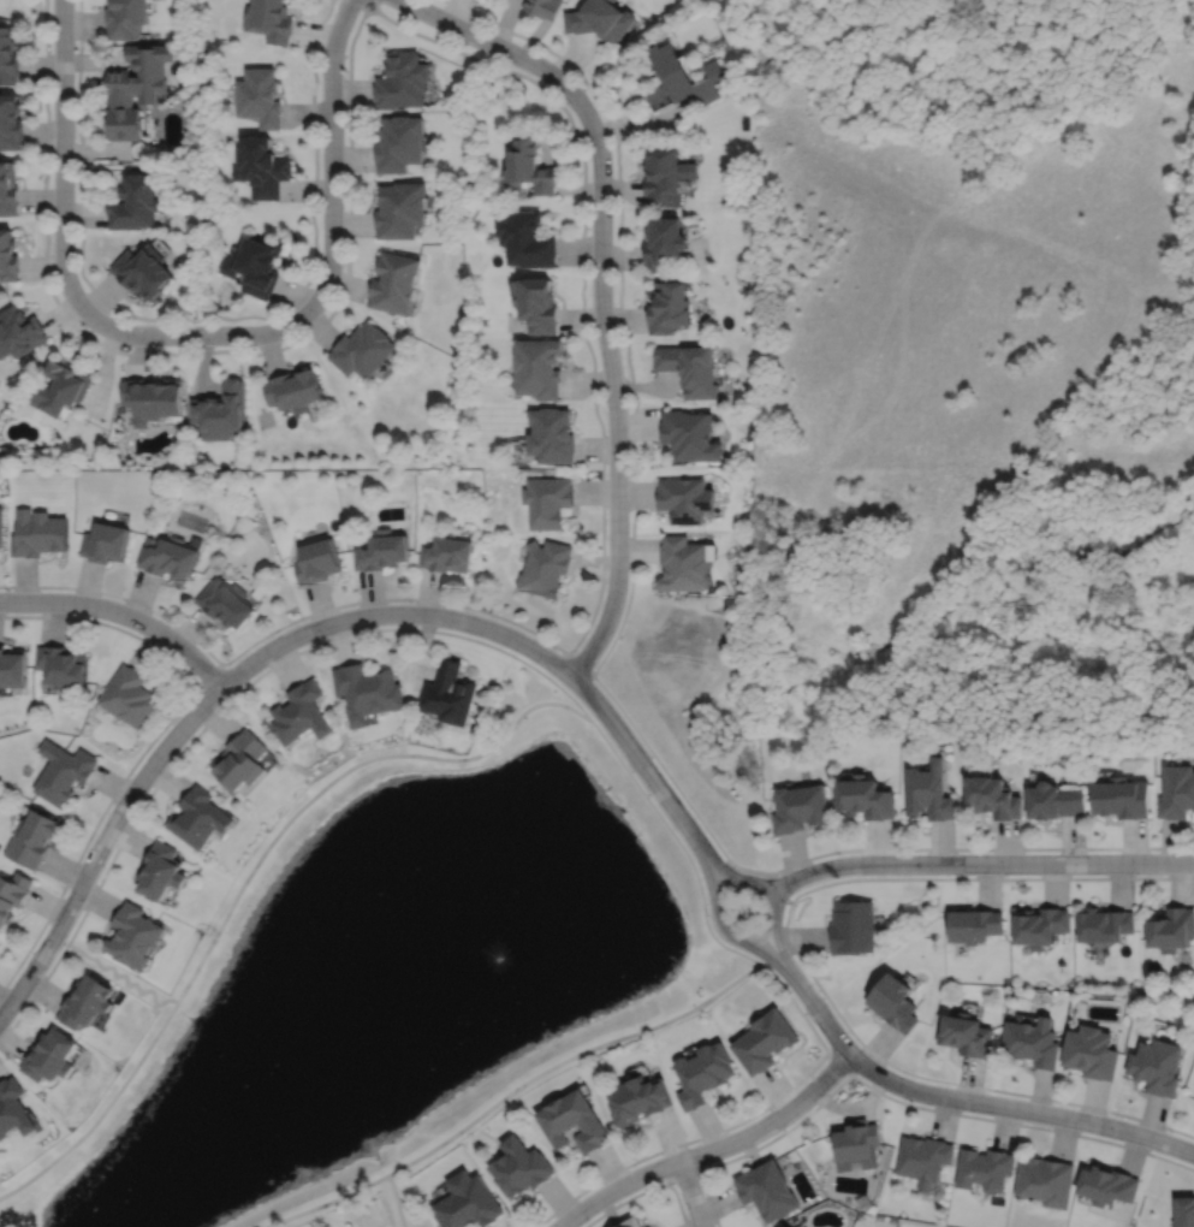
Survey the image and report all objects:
building: (542, 6)
building: (125, 18)
building: (600, 18)
building: (268, 19)
road: (493, 43)
building: (7, 55)
building: (682, 76)
building: (402, 79)
building: (135, 88)
building: (257, 95)
building: (10, 121)
road: (571, 121)
building: (398, 142)
building: (260, 166)
building: (528, 167)
building: (665, 176)
building: (7, 188)
building: (135, 203)
building: (399, 209)
road: (332, 213)
road: (63, 219)
building: (527, 238)
building: (664, 243)
building: (7, 257)
building: (253, 265)
building: (143, 272)
building: (393, 281)
building: (536, 303)
building: (669, 307)
road: (198, 319)
building: (18, 332)
building: (361, 350)
building: (537, 367)
building: (688, 367)
building: (60, 389)
building: (291, 390)
road: (613, 390)
building: (153, 399)
building: (219, 411)
building: (552, 435)
building: (689, 435)
building: (683, 499)
building: (547, 500)
building: (0, 527)
building: (37, 534)
building: (105, 544)
building: (381, 551)
building: (447, 553)
building: (168, 557)
building: (315, 561)
building: (682, 565)
building: (545, 569)
building: (224, 604)
road: (123, 613)
road: (304, 633)
road: (613, 639)
road: (519, 659)
road: (581, 664)
building: (61, 669)
building: (12, 670)
road: (209, 675)
building: (367, 693)
building: (449, 695)
building: (129, 699)
building: (299, 716)
road: (149, 742)
building: (239, 761)
road: (165, 771)
building: (61, 773)
street lamp: (131, 773)
building: (1176, 792)
building: (928, 793)
street lamp: (649, 796)
building: (1122, 796)
building: (993, 798)
building: (865, 800)
building: (1055, 800)
building: (797, 808)
building: (200, 817)
building: (31, 837)
road: (681, 846)
street lamp: (839, 855)
road: (997, 864)
road: (719, 866)
building: (160, 870)
road: (250, 872)
street lamp: (1006, 876)
street lamp: (1139, 876)
road: (709, 879)
road: (780, 882)
road: (782, 888)
road: (786, 889)
street lamp: (64, 893)
building: (12, 894)
road: (776, 907)
street lamp: (708, 915)
building: (973, 924)
building: (1039, 925)
building: (1104, 925)
building: (851, 926)
building: (1171, 929)
building: (132, 935)
fountain: (504, 952)
road: (780, 953)
road: (795, 953)
road: (765, 956)
road: (124, 976)
park: (392, 980)
street lamp: (820, 992)
building: (85, 1001)
building: (893, 1002)
building: (966, 1035)
building: (764, 1041)
building: (1032, 1042)
building: (1091, 1053)
building: (49, 1056)
road: (570, 1057)
road: (839, 1062)
building: (1157, 1066)
building: (703, 1073)
building: (638, 1099)
street lamp: (905, 1099)
road: (973, 1101)
road: (901, 1102)
street lamp: (1051, 1103)
street lamp: (773, 1108)
building: (12, 1109)
building: (572, 1122)
road: (737, 1124)
street lamp: (1171, 1132)
building: (855, 1145)
road: (712, 1149)
building: (922, 1160)
building: (518, 1168)
building: (984, 1169)
road: (681, 1176)
street lamp: (663, 1180)
building: (1045, 1181)
building: (1107, 1186)
road: (644, 1191)
building: (767, 1191)
road: (691, 1193)
road: (396, 1201)
road: (328, 1202)
building: (465, 1203)
building: (1184, 1211)
building: (631, 1222)
building: (786, 1226)

